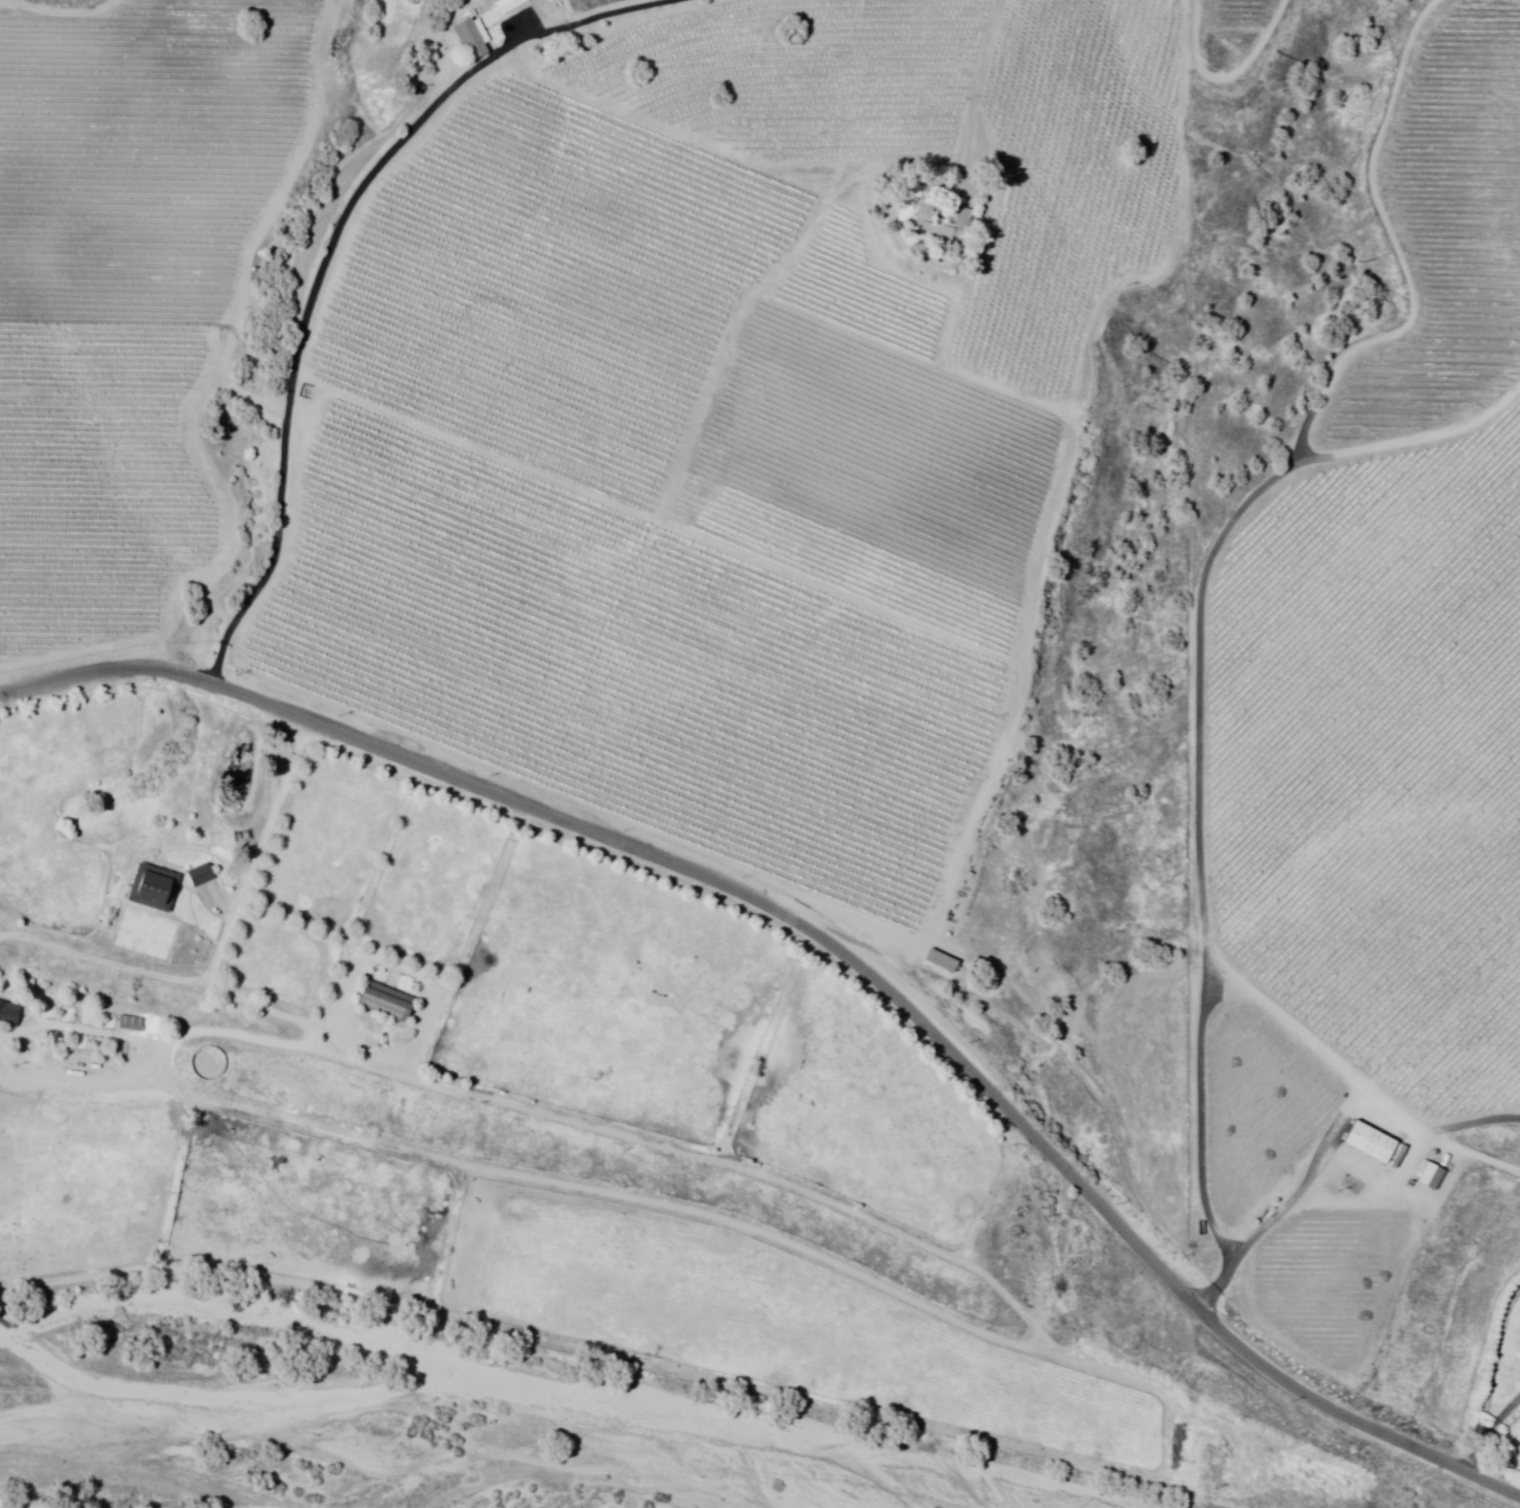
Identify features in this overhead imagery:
building: (508, 6)
building: (471, 41)
road: (979, 92)
building: (943, 222)
road: (329, 253)
crop: (58, 807)
road: (266, 838)
crop: (331, 844)
building: (201, 875)
crop: (434, 884)
building: (155, 888)
road: (831, 945)
building: (941, 962)
crop: (283, 963)
crop: (613, 997)
building: (385, 1000)
building: (9, 1013)
building: (132, 1023)
crop: (868, 1116)
building: (1368, 1144)
building: (1431, 1177)
crop: (83, 1185)
crop: (309, 1210)
crop: (769, 1323)
river: (515, 1372)

